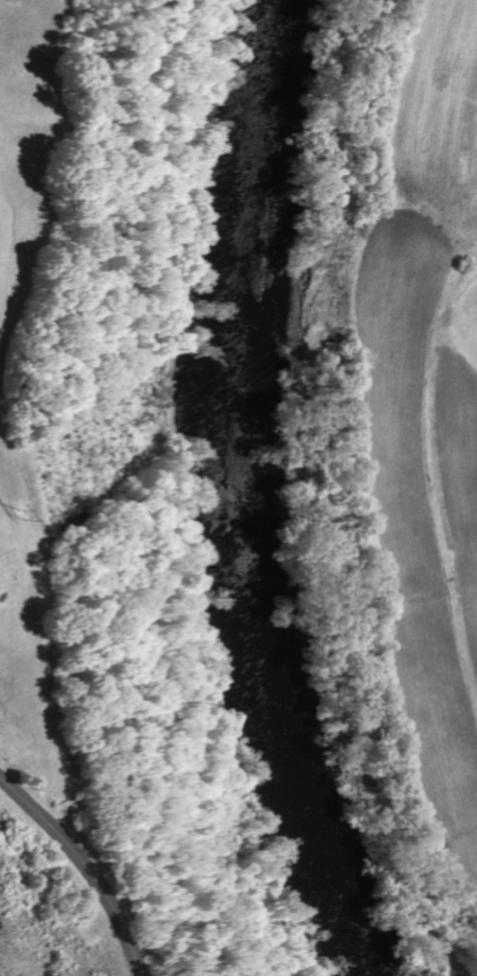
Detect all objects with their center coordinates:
river: (224, 498)
road: (82, 868)

